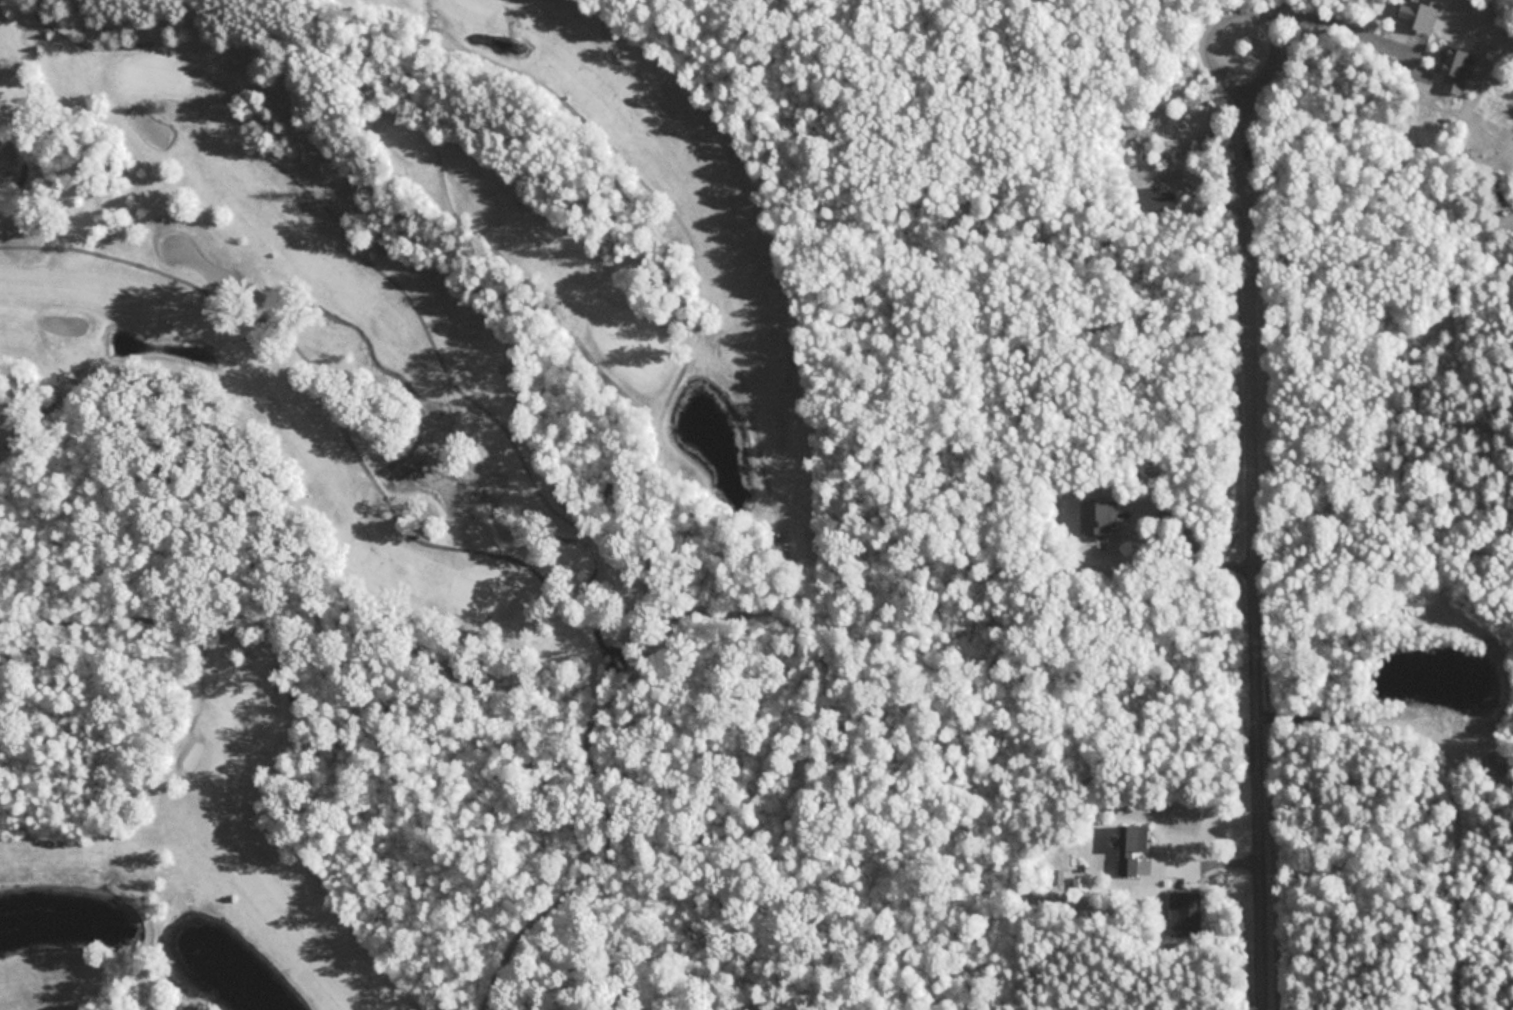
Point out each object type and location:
road: (1236, 13)
building: (1417, 14)
building: (1454, 67)
park: (148, 72)
park: (632, 342)
park: (390, 435)
building: (1098, 517)
road: (1247, 563)
park: (479, 592)
park: (241, 691)
building: (1131, 848)
road: (1196, 859)

